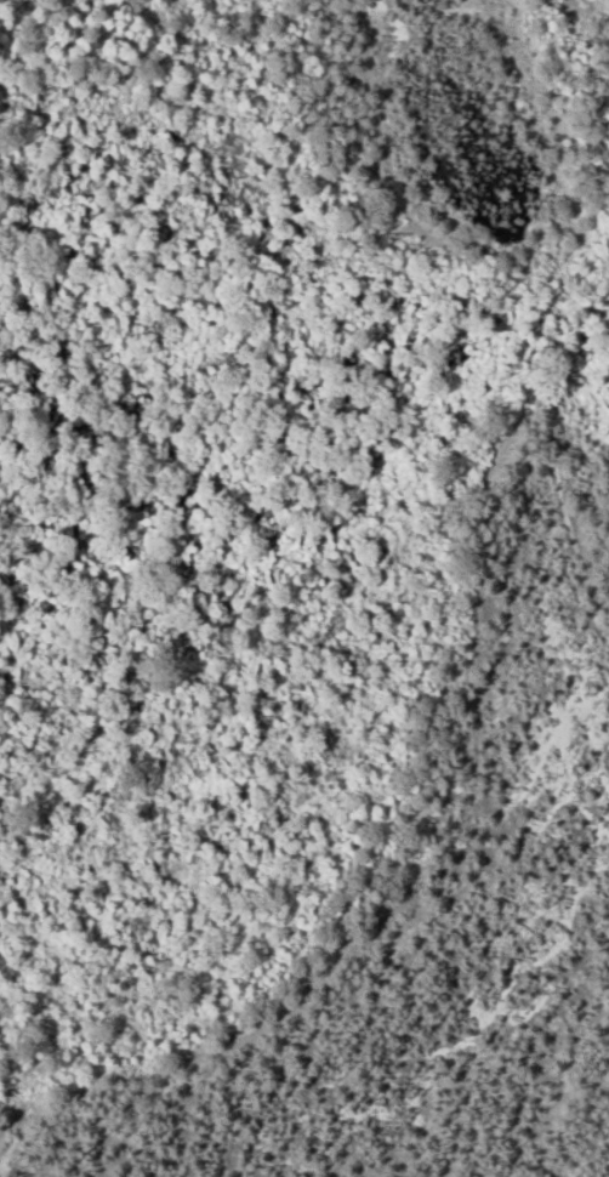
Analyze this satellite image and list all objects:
park: (184, 494)

